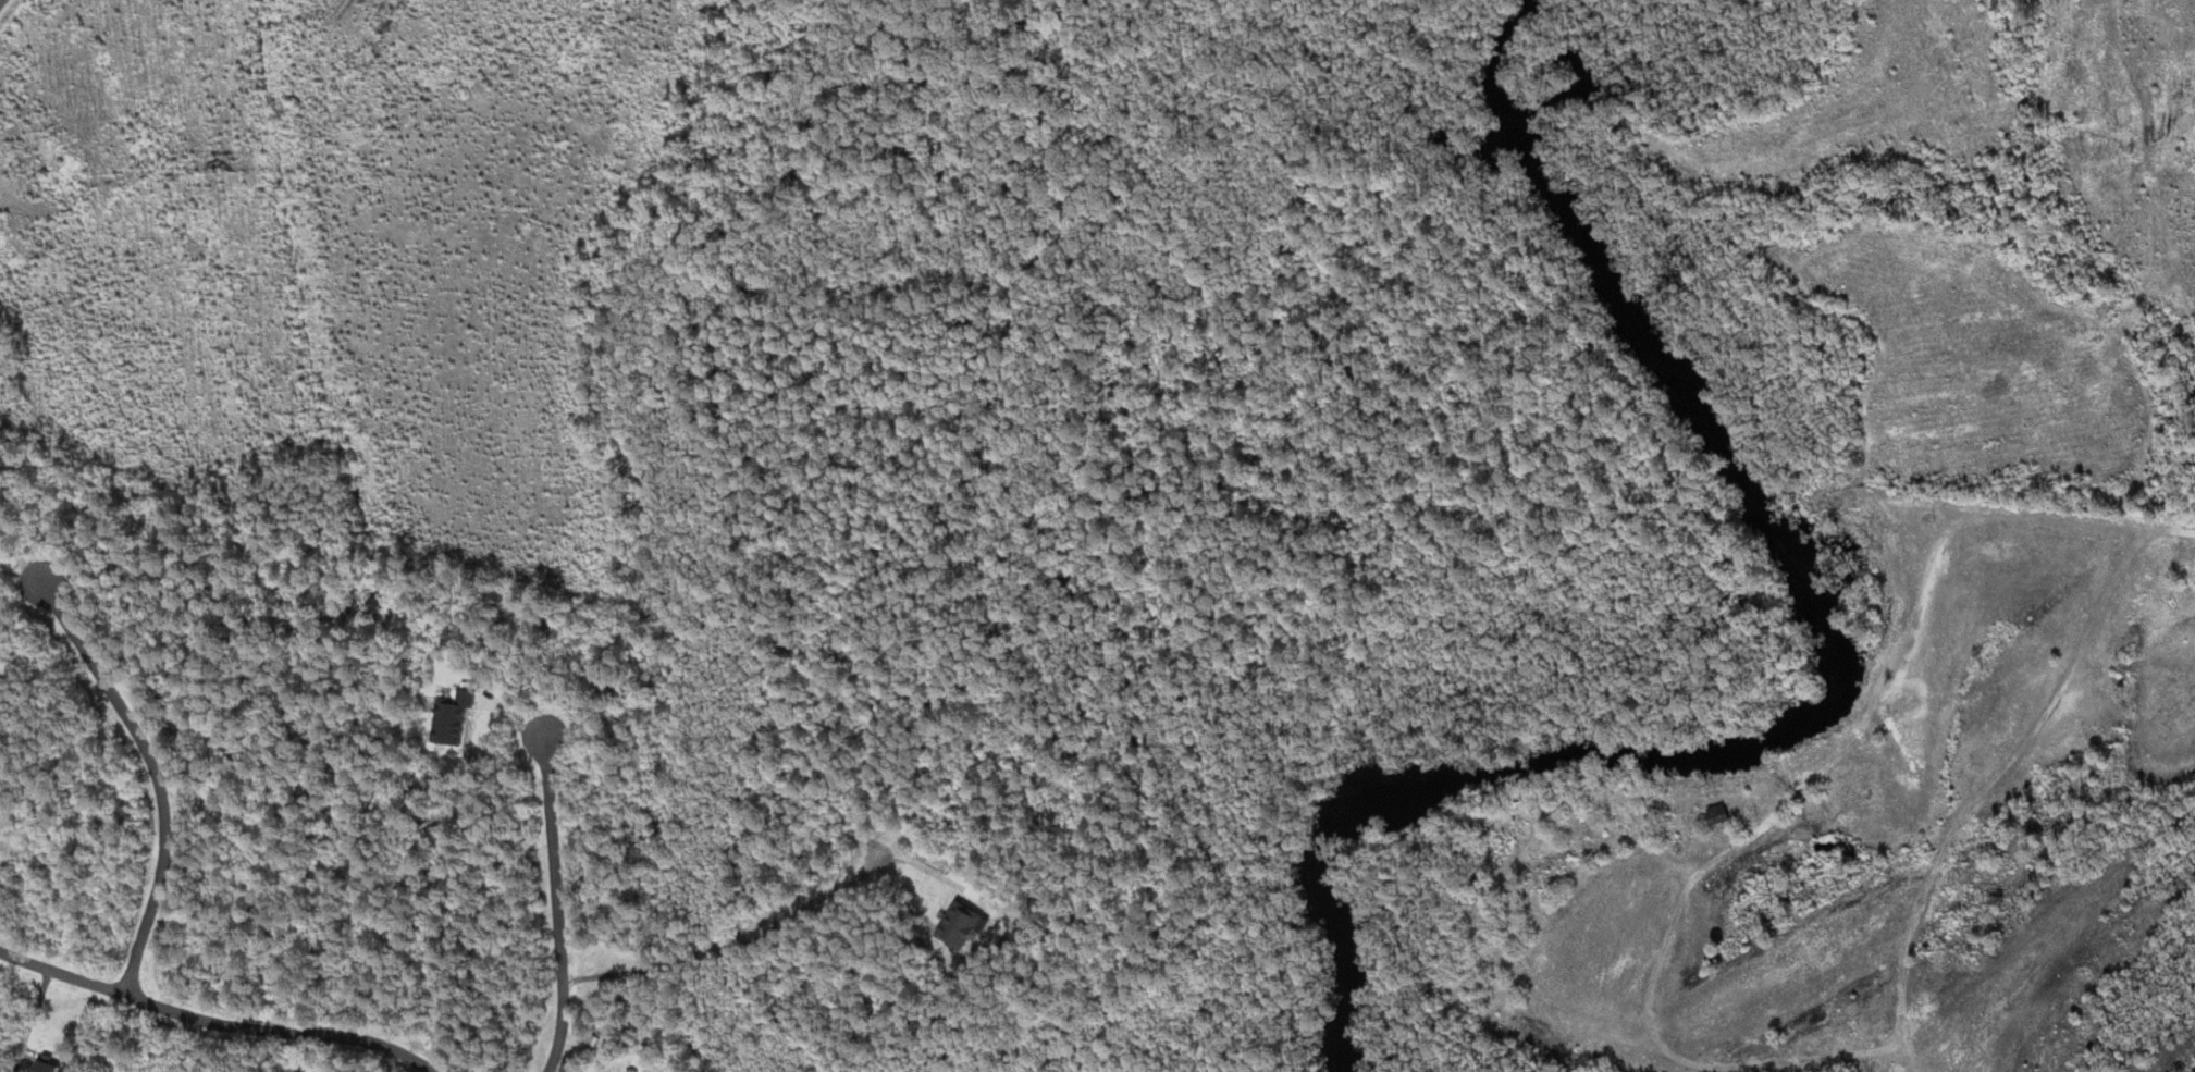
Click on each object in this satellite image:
road: (1, 1)
building: (461, 716)
road: (147, 769)
building: (1727, 812)
road: (563, 904)
road: (206, 1010)
building: (52, 1065)

